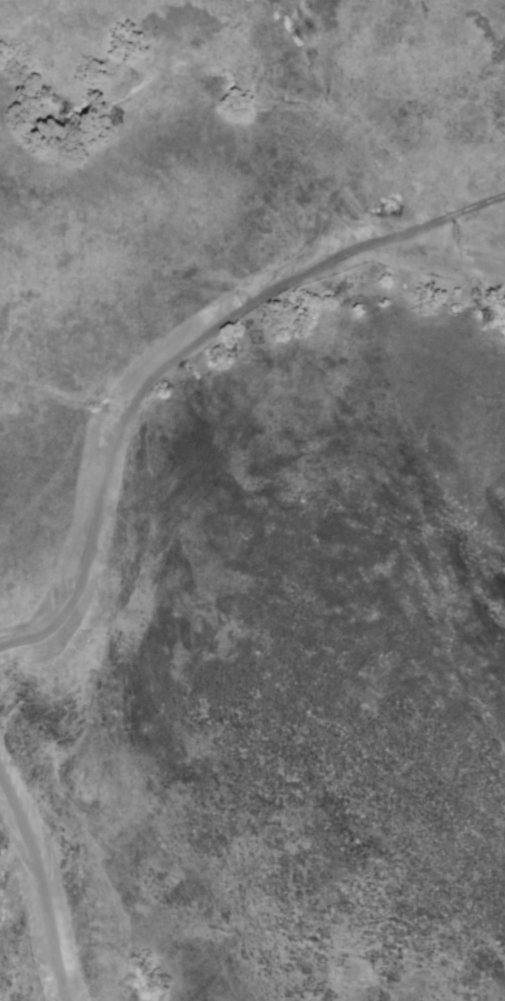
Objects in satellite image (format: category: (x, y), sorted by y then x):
road: (133, 408)
road: (42, 889)

